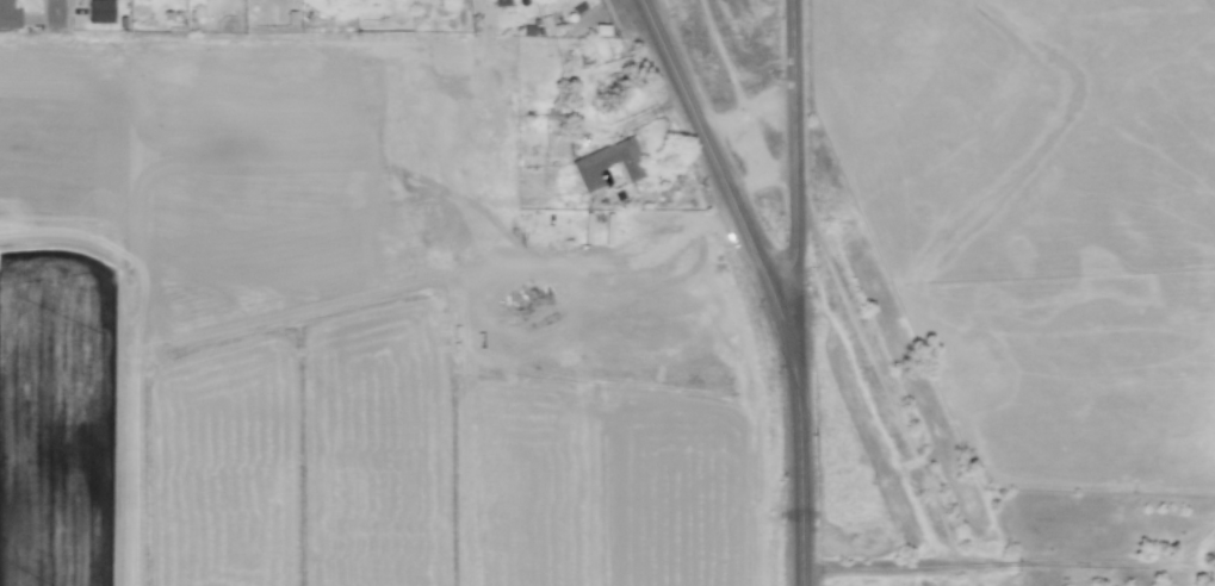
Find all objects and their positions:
building: (496, 1)
building: (99, 11)
building: (8, 15)
road: (60, 20)
building: (607, 164)
road: (718, 169)
road: (796, 292)
road: (1013, 563)

